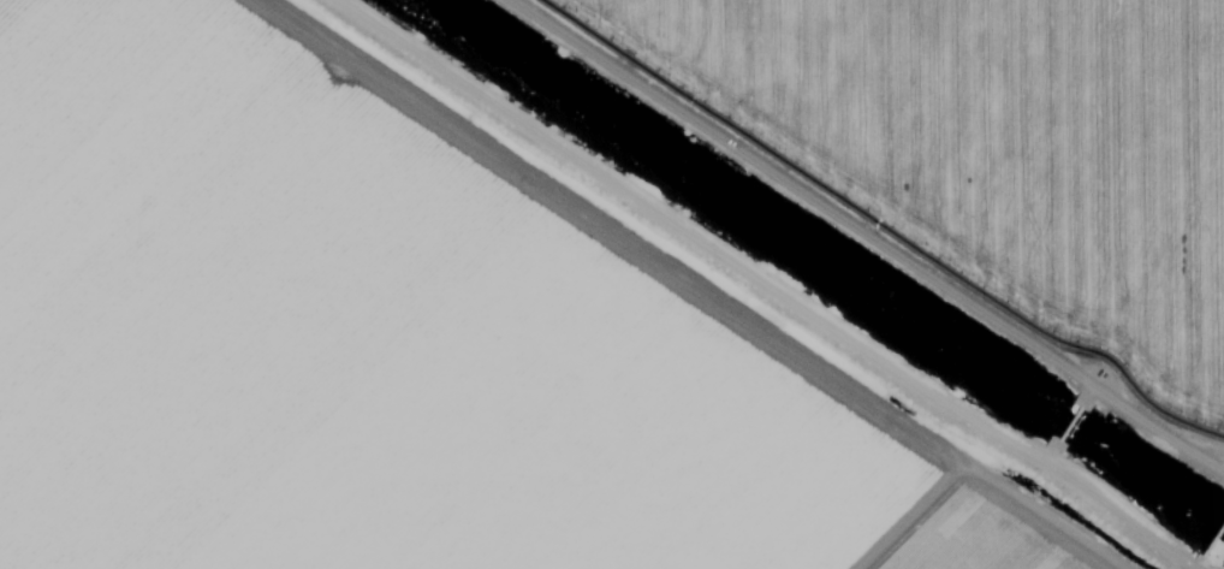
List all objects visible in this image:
crop: (990, 153)
road: (925, 191)
crop: (380, 344)

